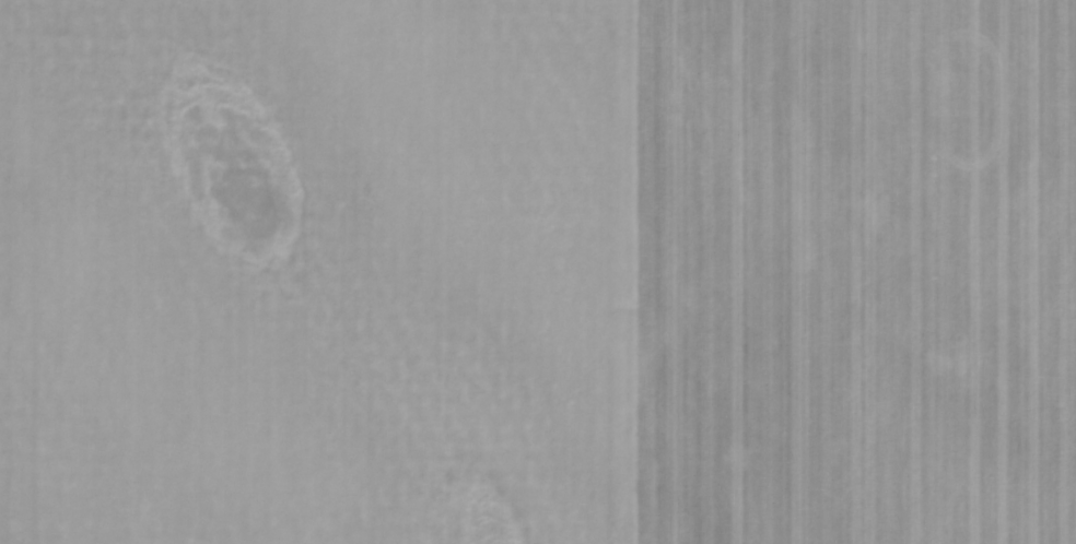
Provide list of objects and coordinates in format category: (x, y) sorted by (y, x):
crop: (538, 272)

